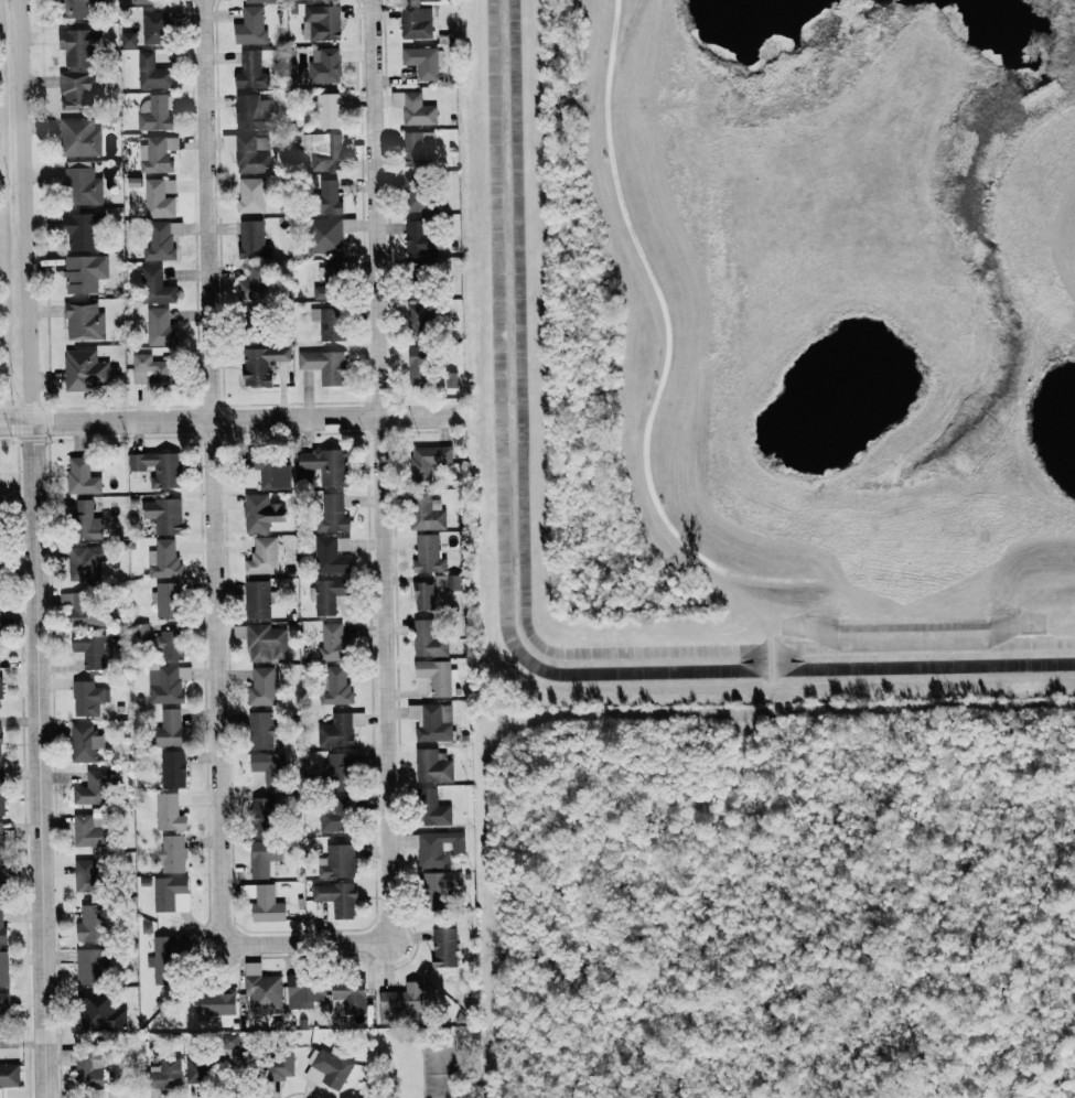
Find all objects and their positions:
building: (260, 0)
building: (144, 1)
building: (78, 9)
building: (321, 22)
building: (417, 22)
building: (251, 26)
building: (155, 28)
building: (128, 39)
building: (79, 46)
building: (422, 62)
building: (324, 65)
building: (249, 69)
building: (152, 72)
building: (79, 88)
building: (415, 108)
building: (329, 110)
building: (252, 111)
building: (154, 114)
building: (79, 137)
building: (419, 149)
building: (323, 151)
building: (250, 152)
building: (158, 153)
building: (82, 184)
building: (415, 194)
building: (251, 195)
building: (330, 195)
building: (160, 197)
building: (83, 232)
building: (325, 235)
building: (420, 237)
building: (162, 240)
building: (252, 240)
building: (423, 270)
building: (84, 272)
building: (330, 281)
building: (254, 282)
building: (155, 287)
building: (419, 310)
building: (84, 320)
building: (330, 322)
building: (161, 327)
building: (262, 364)
building: (419, 365)
building: (324, 366)
building: (87, 370)
building: (152, 372)
building: (451, 379)
road: (227, 418)
building: (429, 460)
building: (326, 465)
building: (158, 467)
building: (269, 470)
road: (379, 470)
road: (211, 471)
building: (82, 476)
building: (261, 513)
building: (428, 513)
building: (333, 514)
building: (164, 515)
building: (86, 521)
road: (32, 548)
building: (332, 555)
building: (429, 555)
building: (262, 556)
building: (164, 558)
building: (86, 562)
building: (434, 590)
building: (327, 594)
building: (257, 599)
building: (166, 600)
building: (82, 610)
building: (429, 639)
building: (264, 640)
building: (332, 642)
building: (169, 644)
building: (90, 649)
building: (437, 675)
building: (166, 682)
building: (335, 685)
building: (262, 686)
building: (0, 691)
building: (88, 698)
building: (357, 718)
building: (430, 720)
building: (169, 728)
building: (261, 729)
building: (336, 730)
building: (85, 742)
building: (0, 743)
building: (432, 765)
building: (172, 767)
building: (268, 768)
building: (337, 769)
building: (95, 785)
building: (1, 792)
building: (432, 808)
building: (169, 811)
building: (262, 814)
building: (335, 815)
building: (99, 817)
building: (88, 832)
building: (411, 840)
building: (0, 843)
building: (439, 848)
building: (173, 852)
building: (265, 857)
building: (337, 861)
building: (87, 875)
building: (1, 885)
building: (439, 887)
building: (171, 893)
building: (336, 897)
building: (89, 922)
building: (2, 929)
road: (304, 941)
building: (444, 947)
building: (166, 959)
building: (92, 966)
building: (3, 968)
building: (262, 990)
building: (305, 990)
building: (348, 994)
building: (215, 1002)
building: (402, 1002)
building: (2, 1010)
building: (100, 1010)
building: (229, 1044)
building: (280, 1065)
building: (86, 1066)
building: (329, 1067)
building: (197, 1069)
building: (166, 1073)
building: (9, 1074)
building: (351, 1097)

